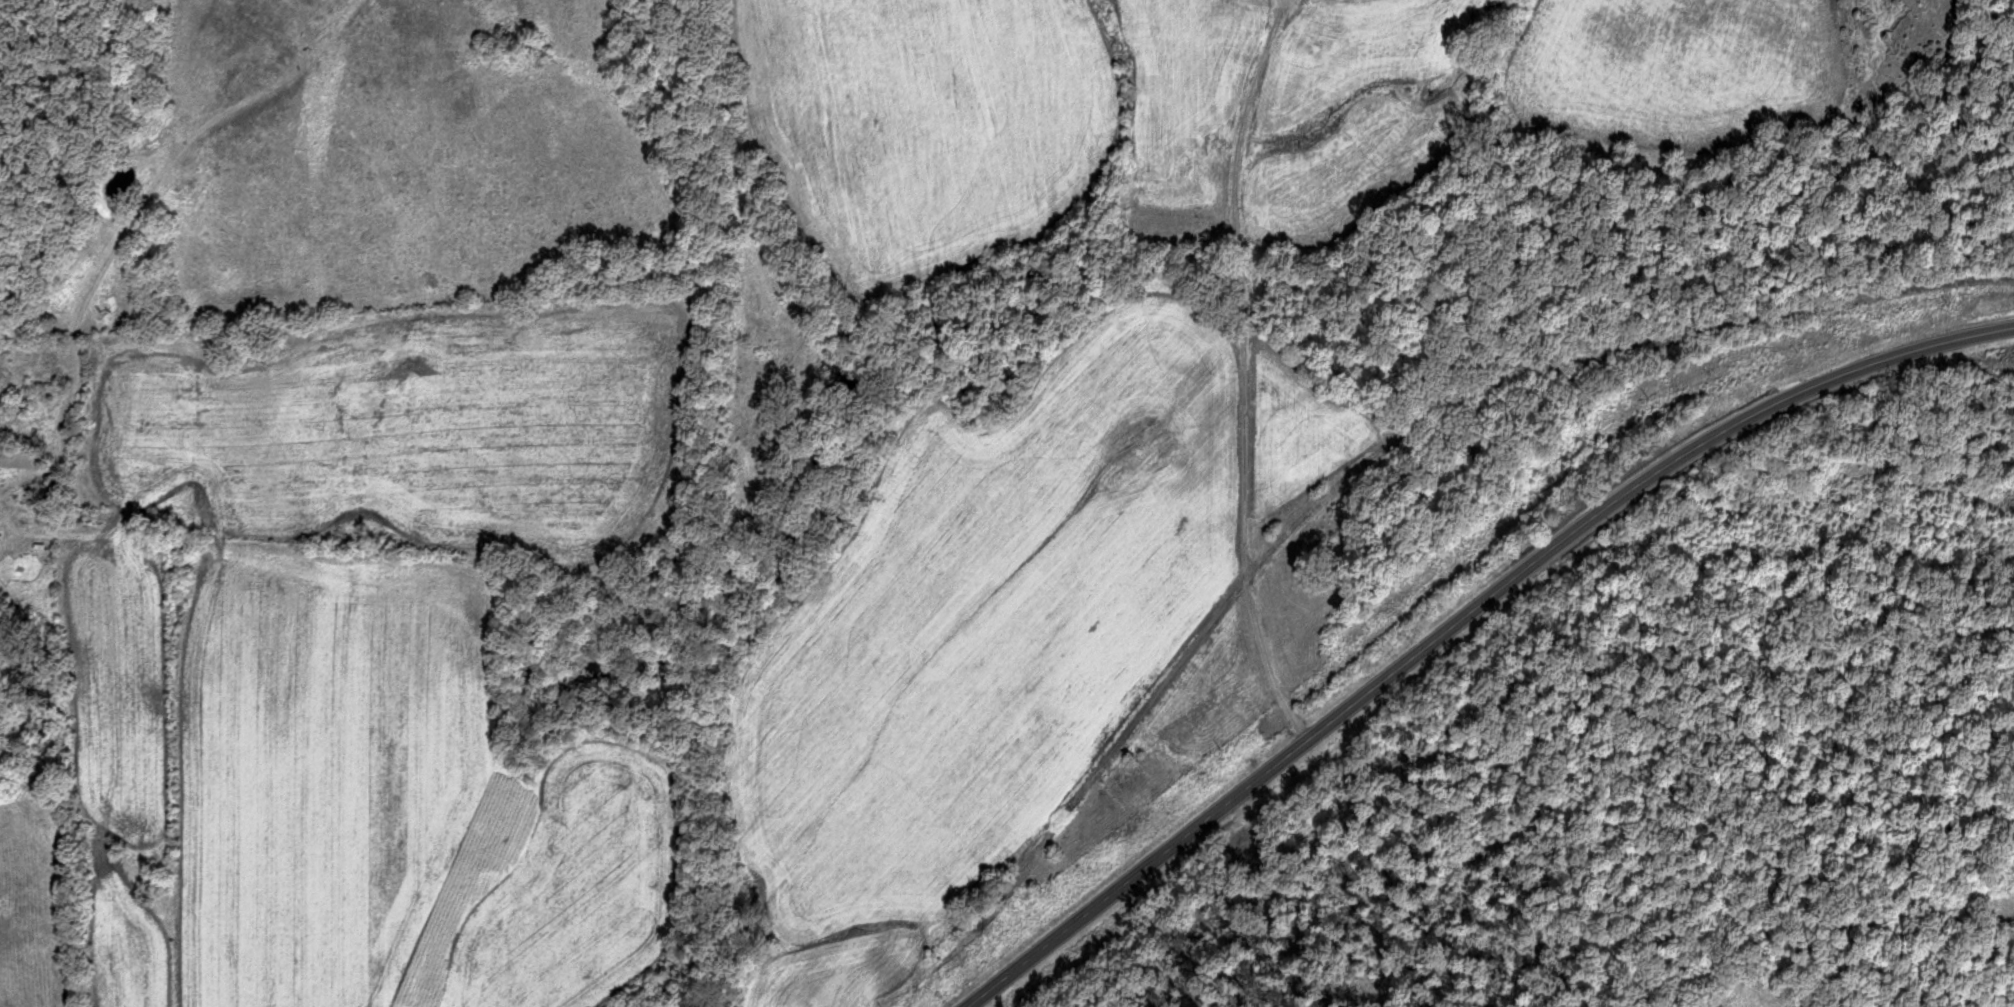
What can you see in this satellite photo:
building: (24, 458)
road: (1461, 614)

